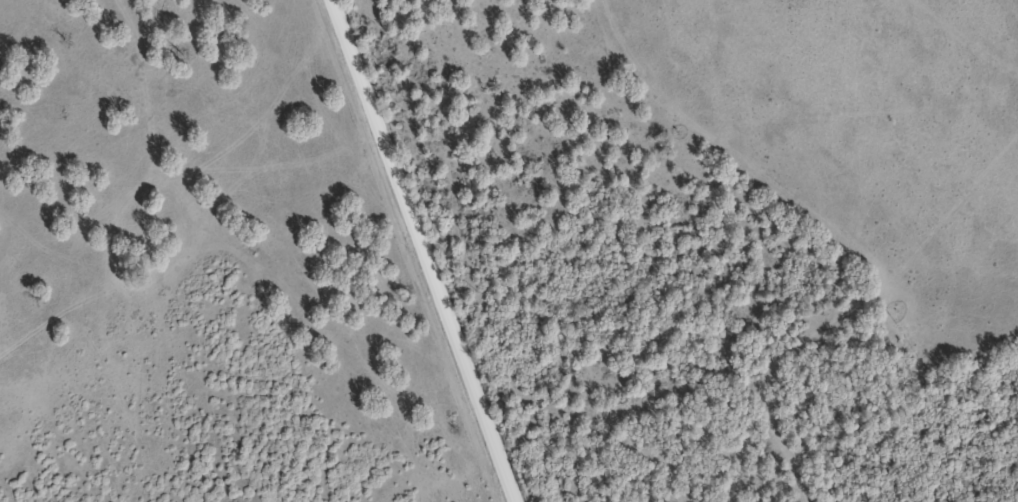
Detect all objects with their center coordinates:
road: (409, 251)

